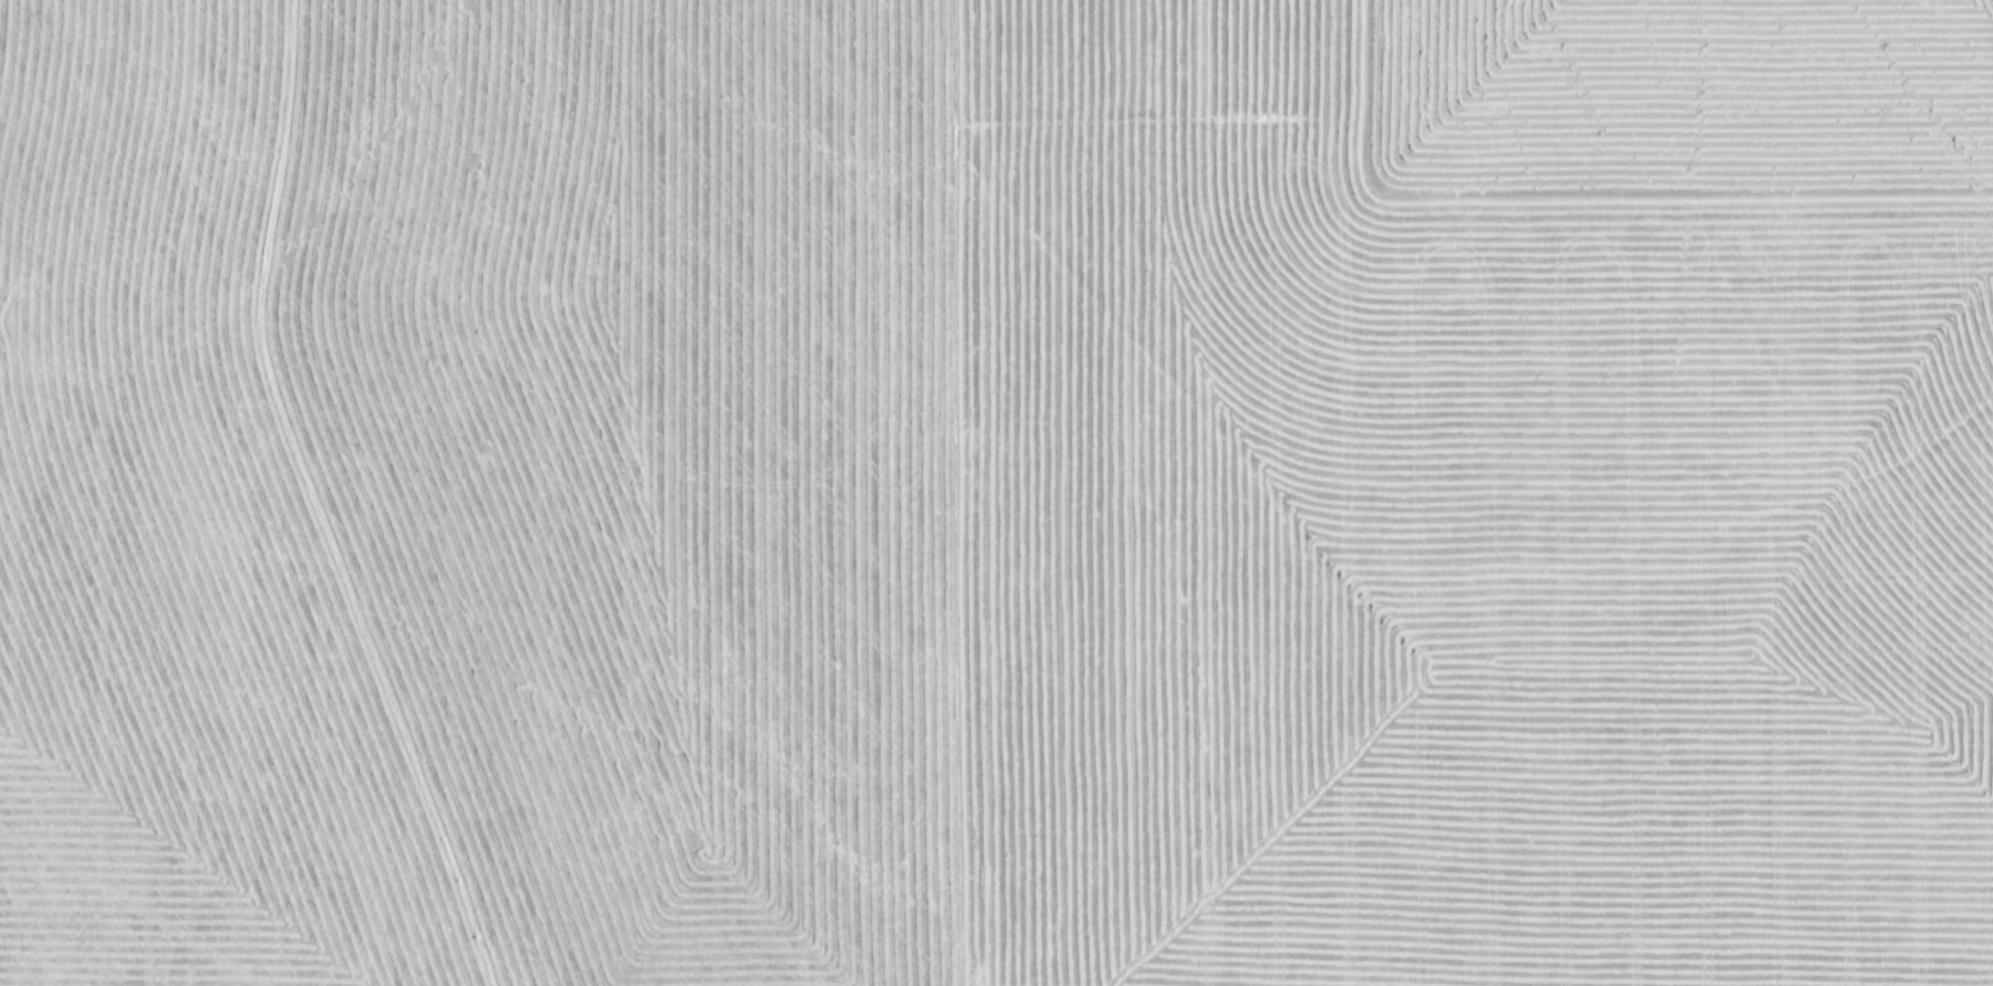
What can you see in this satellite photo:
crop: (996, 493)

